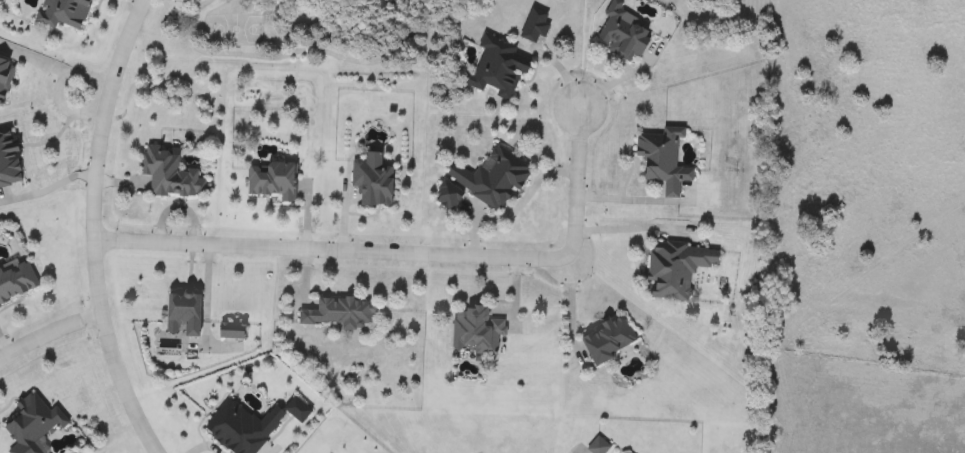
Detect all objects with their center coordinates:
building: (62, 13)
building: (533, 25)
building: (619, 34)
road: (54, 64)
building: (496, 68)
building: (4, 76)
road: (72, 111)
building: (8, 160)
building: (661, 160)
building: (168, 174)
building: (490, 178)
building: (270, 181)
building: (371, 183)
road: (49, 187)
building: (447, 196)
road: (621, 199)
road: (92, 227)
road: (628, 228)
road: (405, 256)
building: (674, 269)
building: (15, 281)
road: (569, 305)
building: (182, 313)
building: (338, 313)
road: (49, 331)
building: (474, 331)
building: (607, 340)
building: (296, 410)
building: (31, 424)
building: (240, 428)

